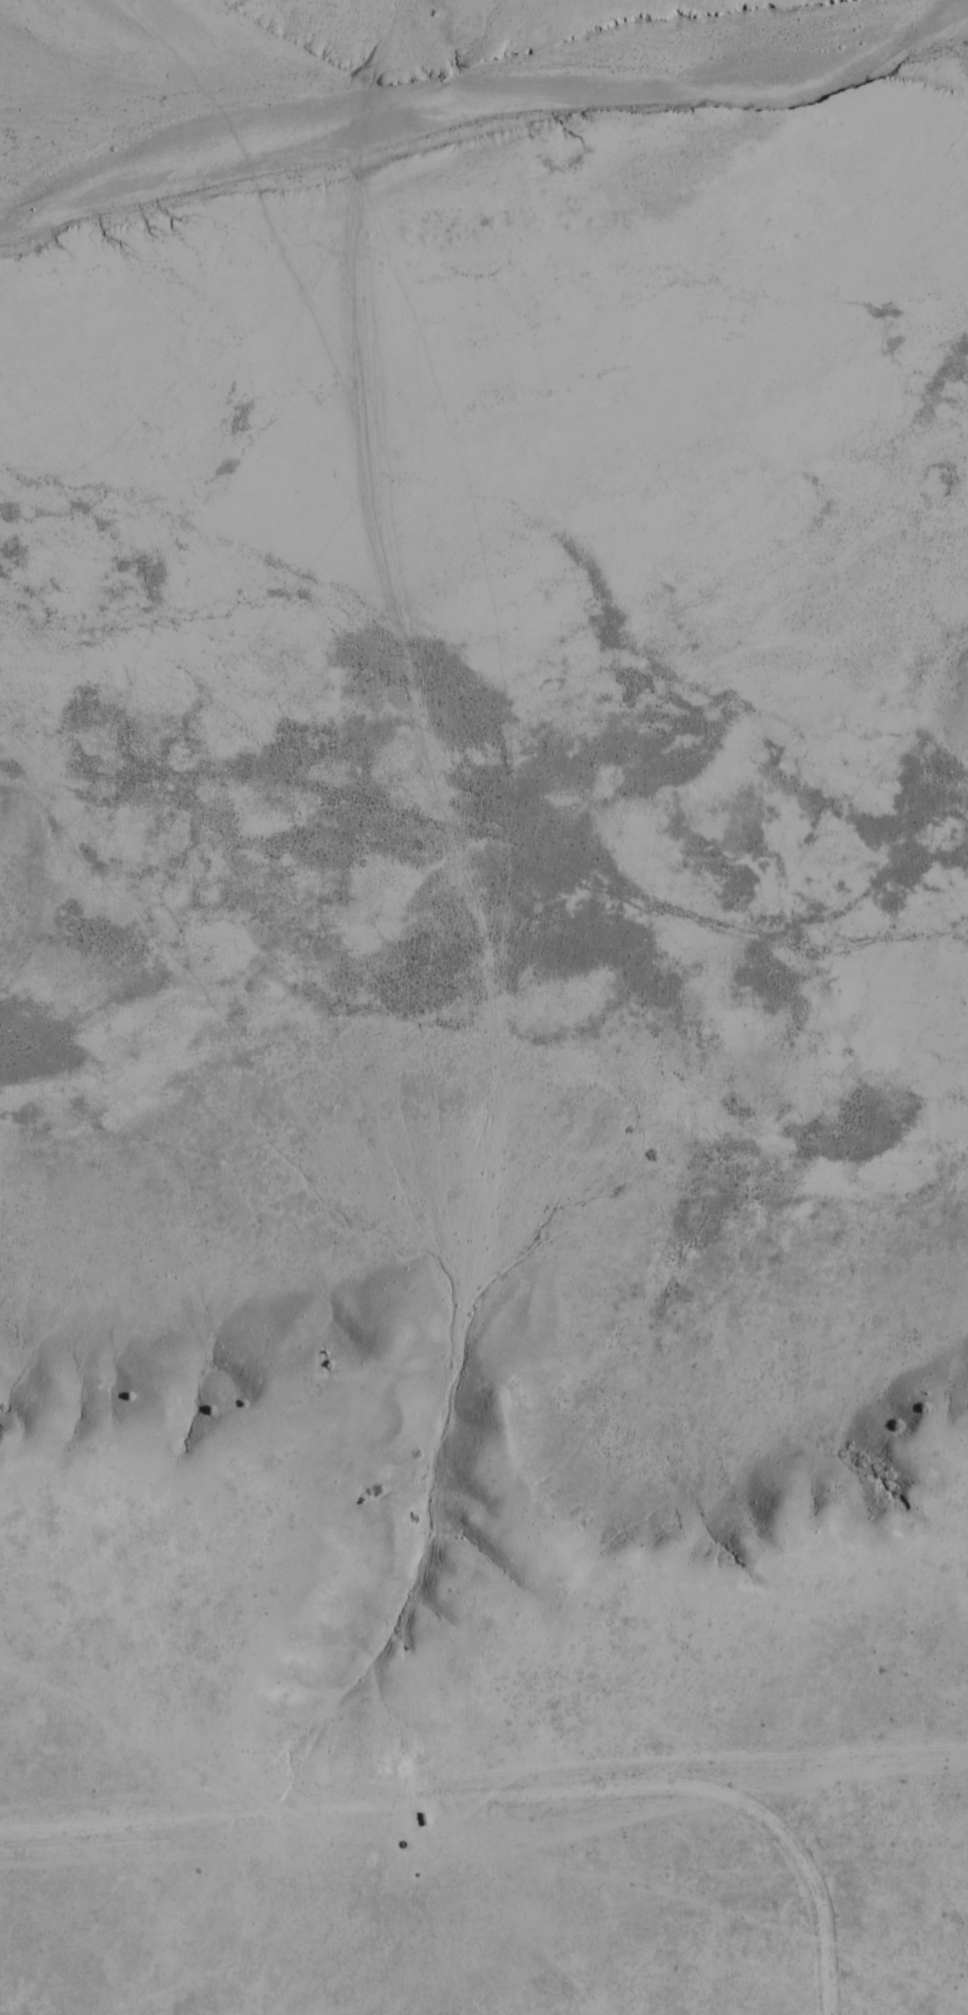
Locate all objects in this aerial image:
road: (487, 1158)

